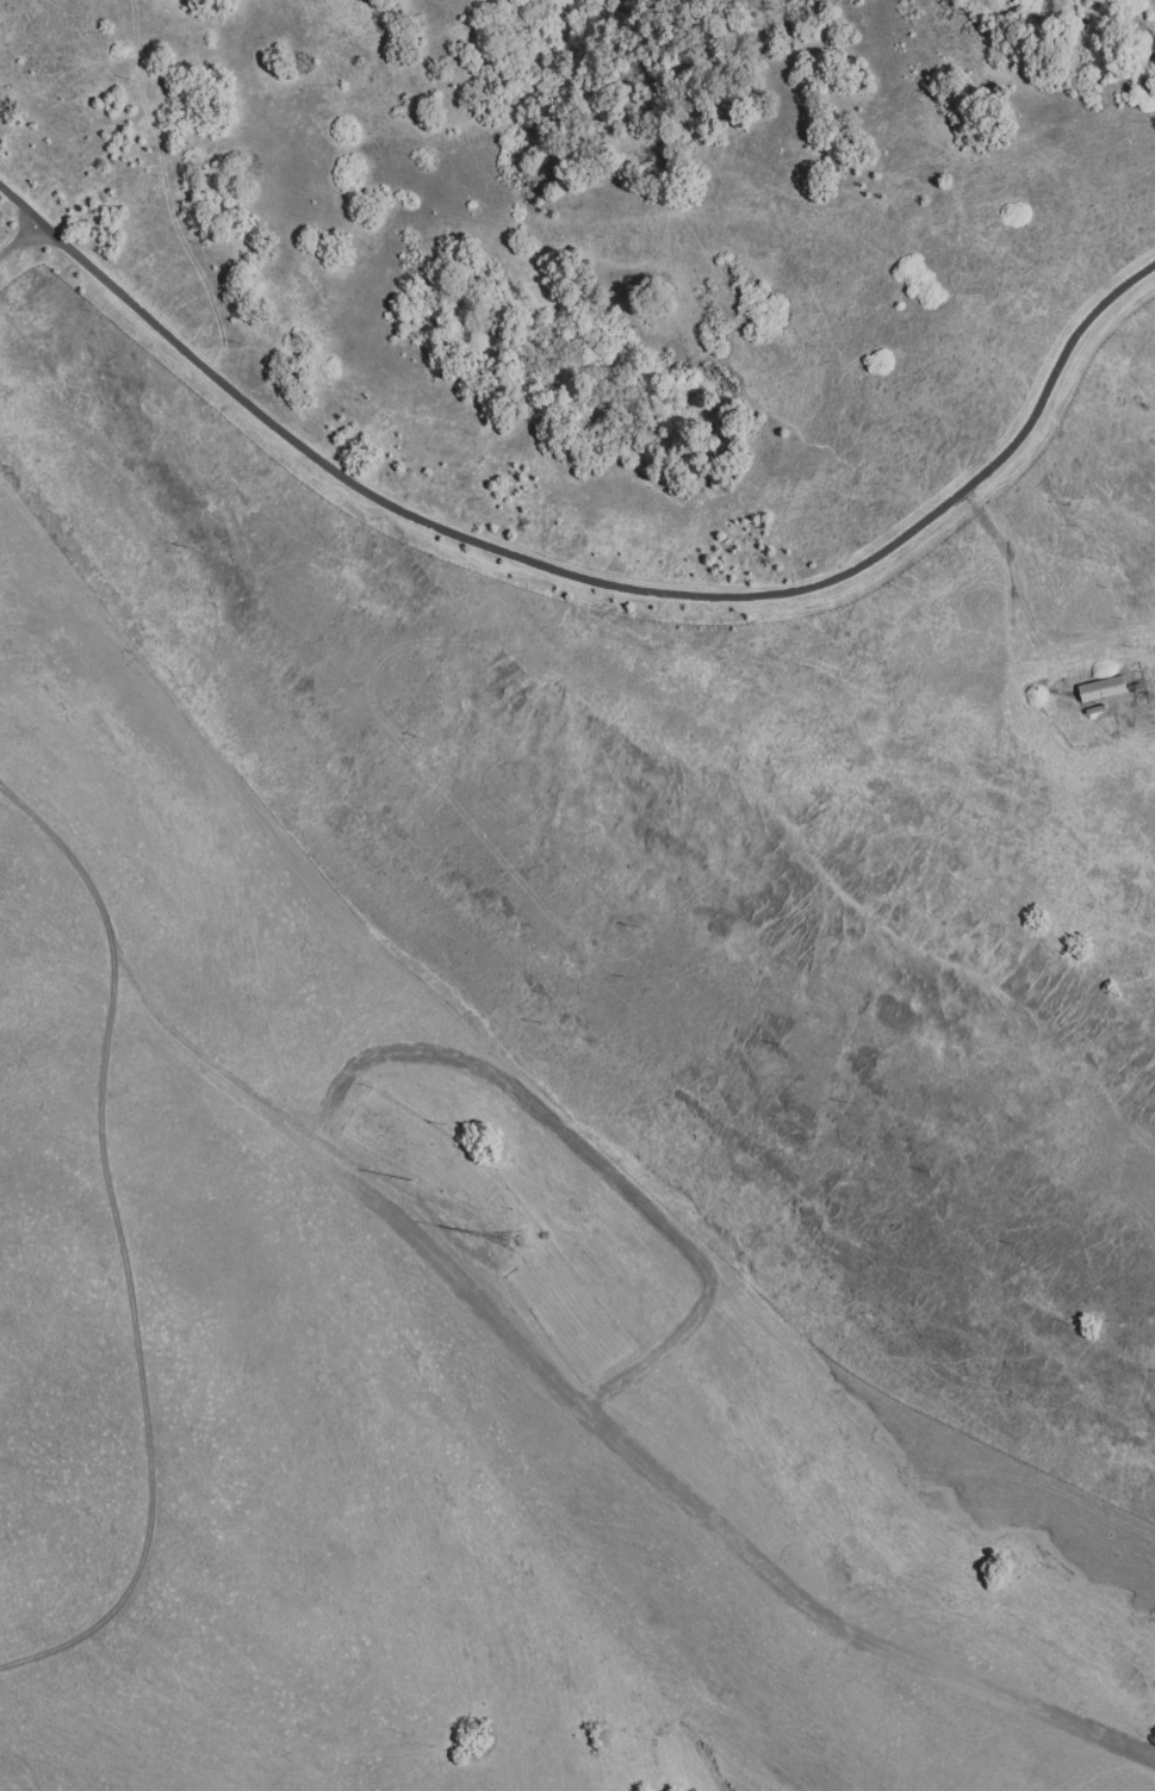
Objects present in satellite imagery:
road: (19, 237)
road: (994, 539)
road: (586, 576)
building: (1138, 690)
building: (1103, 692)
building: (1097, 712)
road: (319, 1139)
road: (120, 1242)
building: (522, 1244)

